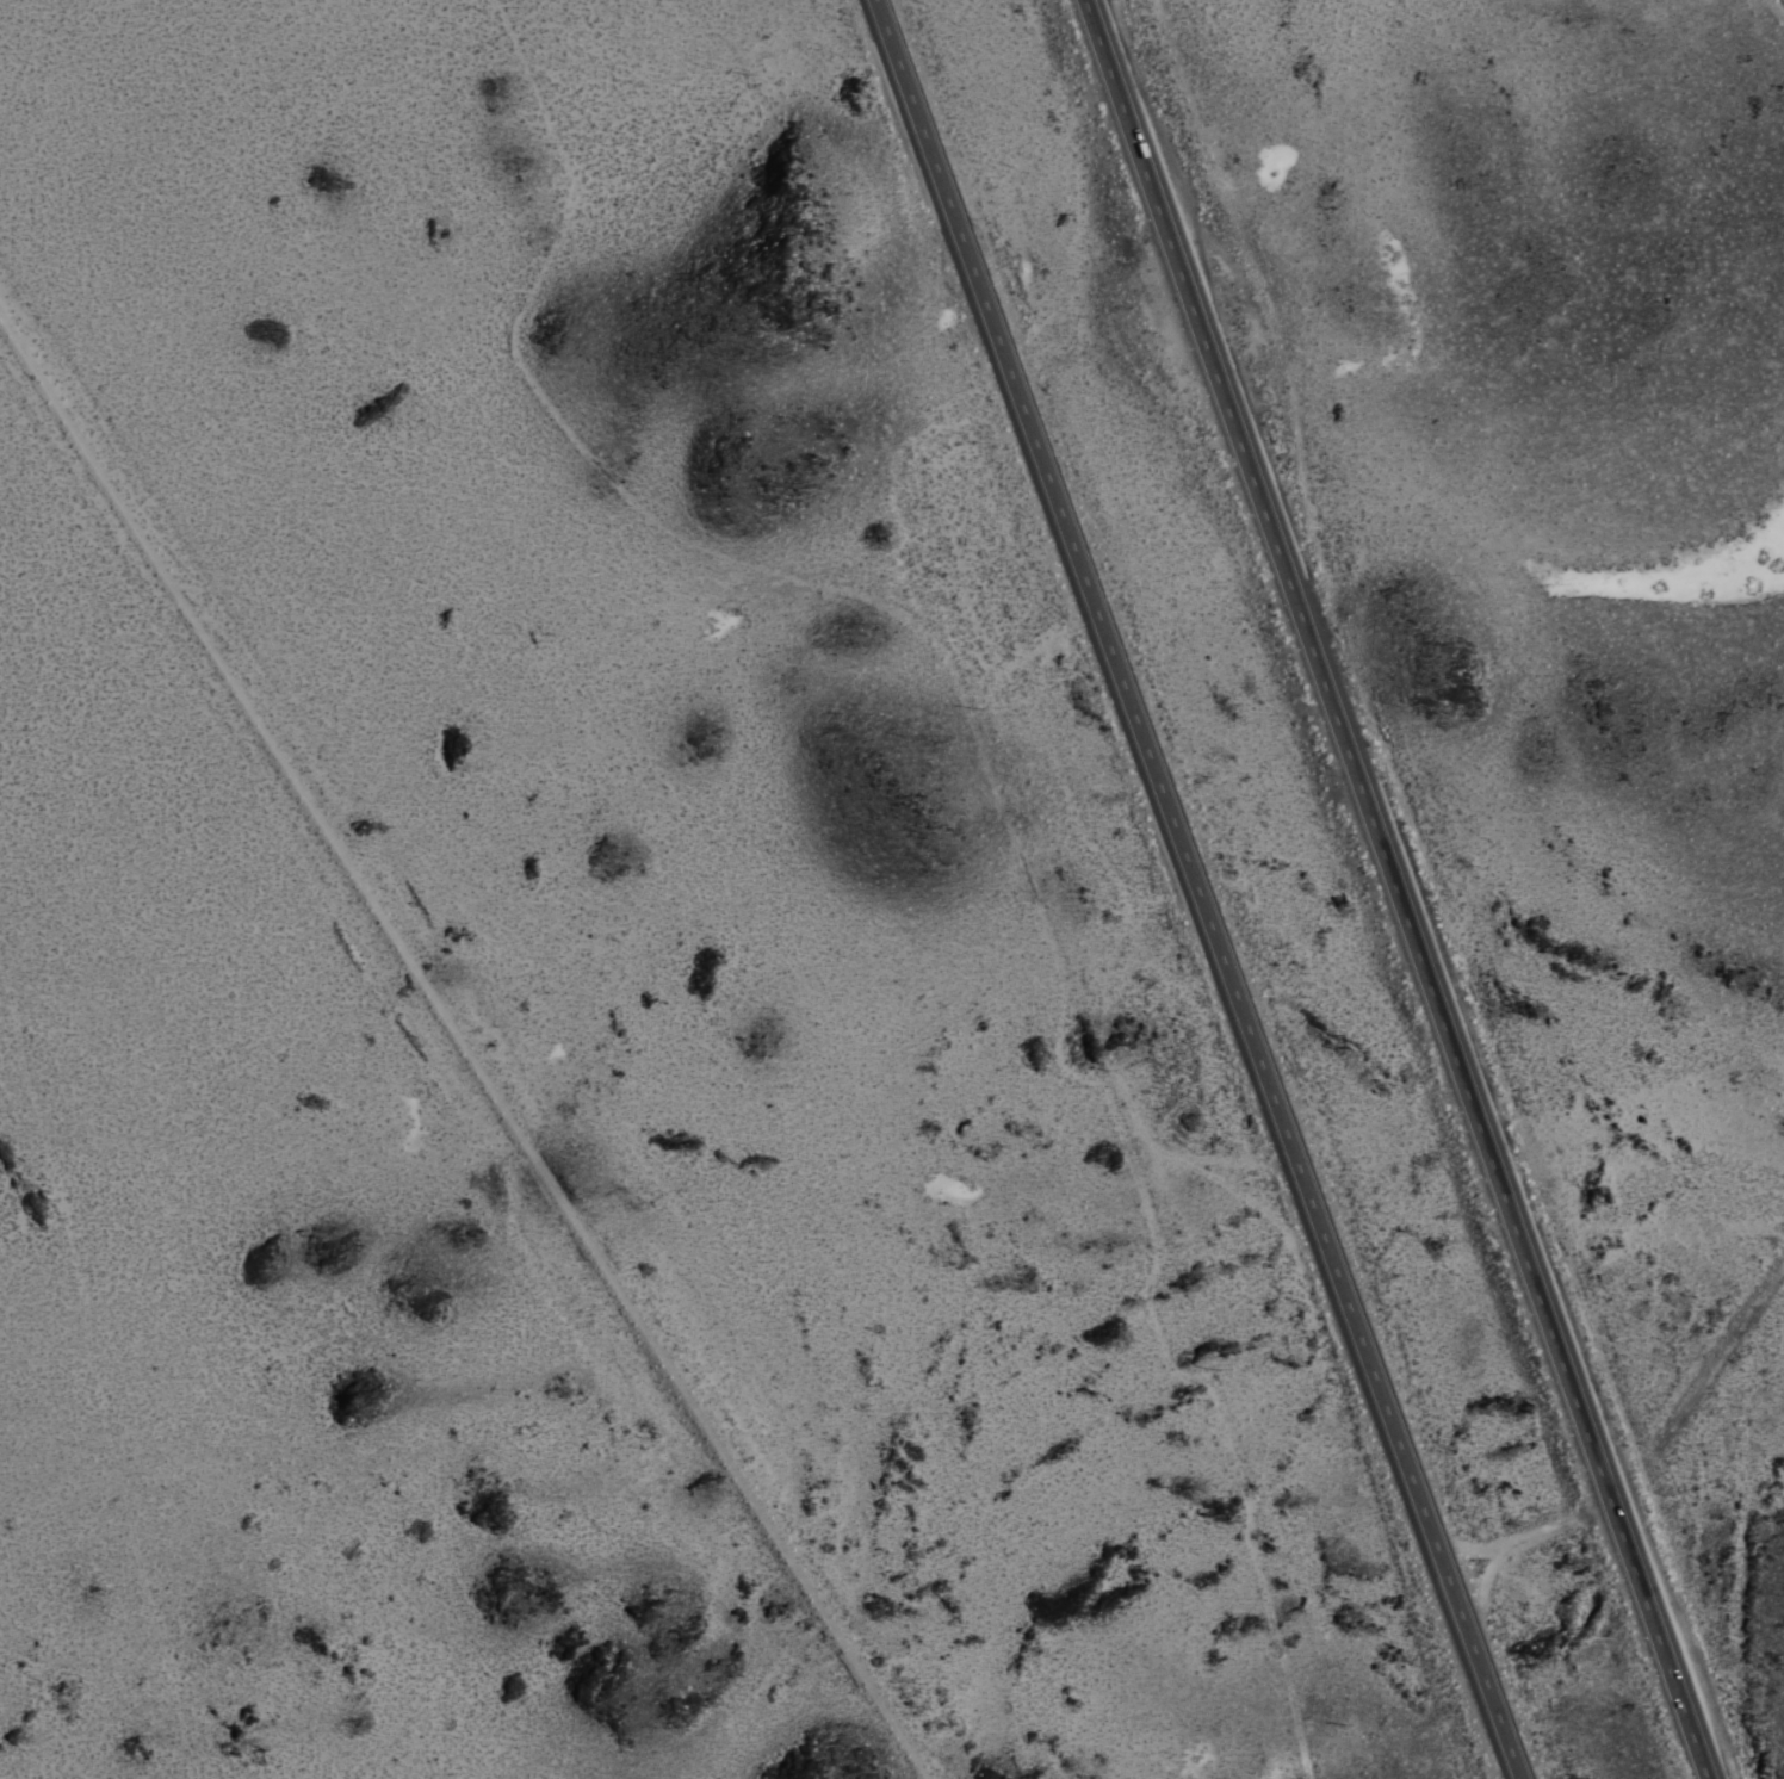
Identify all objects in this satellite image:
road: (1195, 889)
road: (1393, 889)

